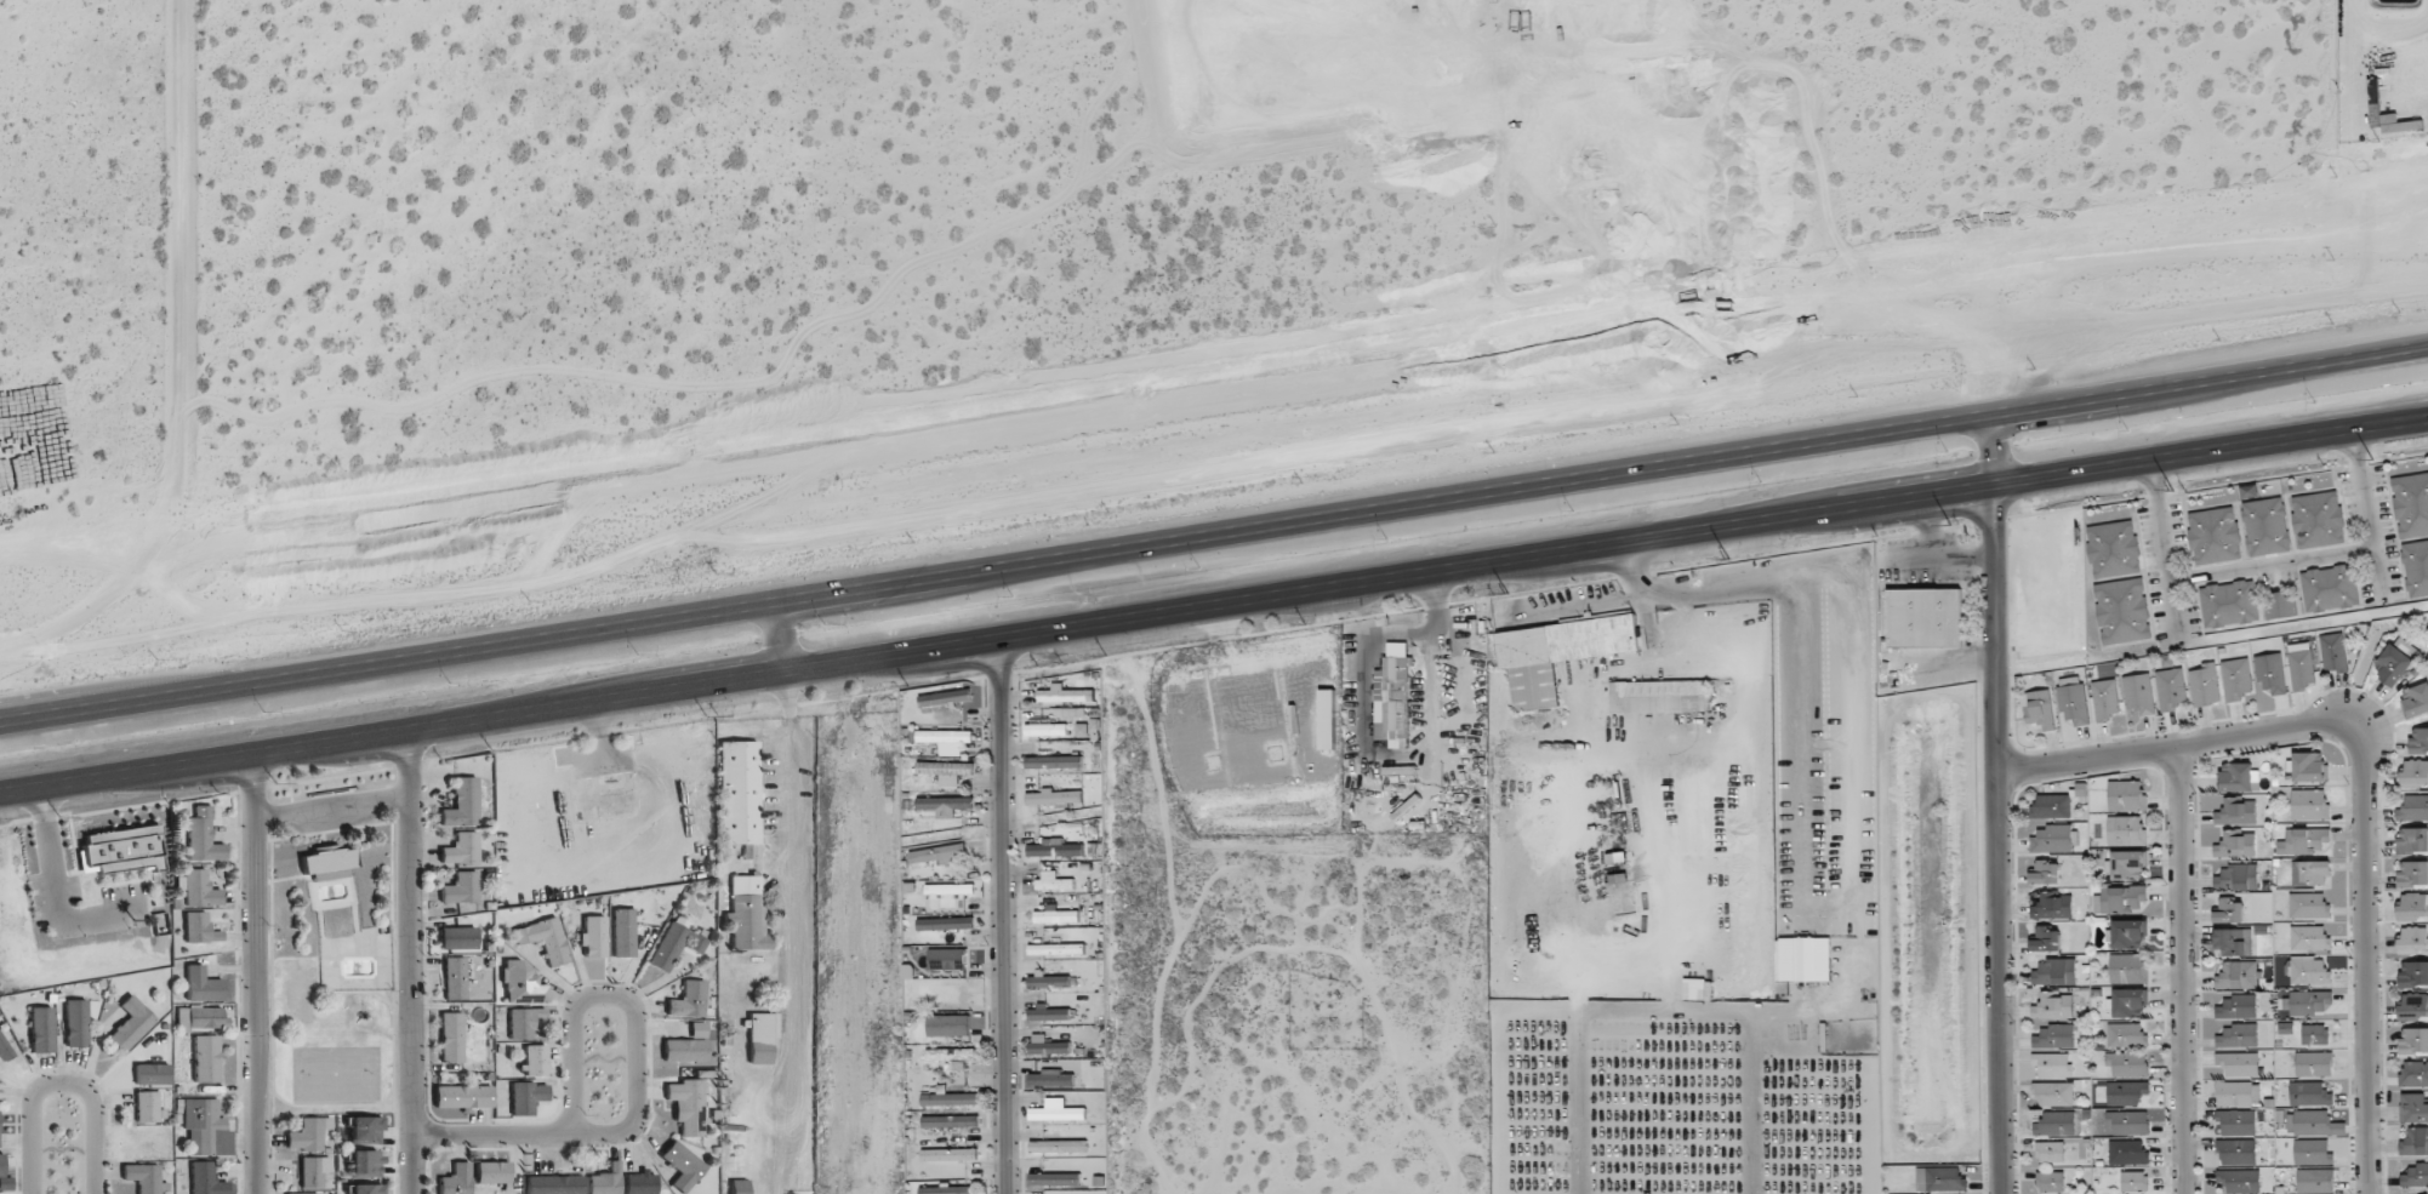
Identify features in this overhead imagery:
road: (1212, 389)
road: (1988, 445)
road: (2208, 455)
building: (2411, 504)
building: (2318, 519)
road: (2369, 519)
building: (2265, 526)
building: (2215, 535)
building: (2113, 549)
road: (2167, 556)
road: (2273, 565)
building: (2416, 567)
building: (2330, 588)
building: (2228, 604)
building: (2279, 606)
building: (2122, 611)
building: (1925, 617)
road: (994, 640)
building: (2333, 652)
building: (1557, 653)
building: (2393, 664)
building: (2301, 665)
building: (2270, 673)
building: (2236, 679)
building: (2204, 685)
building: (2171, 689)
building: (2138, 693)
building: (1065, 695)
building: (1392, 695)
building: (1658, 696)
building: (945, 698)
building: (2073, 699)
building: (2104, 699)
building: (2416, 699)
building: (2039, 709)
building: (1070, 712)
building: (1327, 719)
building: (1044, 727)
building: (945, 736)
building: (2418, 741)
road: (2176, 742)
building: (951, 752)
building: (1054, 762)
building: (2309, 766)
building: (1398, 770)
building: (946, 771)
building: (2415, 773)
building: (2235, 777)
road: (1151, 778)
building: (739, 792)
building: (2126, 795)
building: (1054, 796)
building: (460, 804)
building: (2309, 804)
building: (945, 805)
building: (2052, 806)
building: (2413, 809)
building: (2236, 812)
building: (2126, 829)
building: (203, 836)
building: (2052, 839)
road: (1990, 840)
building: (2412, 840)
building: (2304, 841)
building: (2235, 845)
building: (1054, 849)
building: (460, 850)
building: (124, 851)
building: (939, 853)
building: (327, 861)
building: (2128, 864)
building: (2045, 872)
building: (2310, 872)
building: (2412, 873)
building: (324, 875)
building: (2236, 878)
building: (1053, 881)
building: (460, 887)
building: (200, 889)
building: (945, 893)
building: (2122, 898)
building: (2308, 906)
building: (2413, 906)
building: (2052, 907)
building: (2228, 910)
building: (747, 913)
building: (1056, 915)
road: (1003, 916)
building: (945, 924)
building: (199, 929)
building: (623, 932)
building: (2128, 933)
building: (457, 937)
building: (593, 937)
building: (2308, 937)
building: (545, 939)
building: (2045, 939)
building: (2413, 939)
building: (2232, 942)
building: (674, 946)
building: (1056, 949)
road: (2358, 956)
building: (947, 959)
building: (1802, 959)
road: (411, 960)
building: (2127, 967)
road: (2168, 969)
building: (2309, 970)
building: (2054, 972)
road: (253, 973)
building: (2413, 973)
building: (2236, 975)
building: (454, 978)
building: (1048, 981)
building: (523, 983)
building: (201, 984)
building: (937, 993)
building: (1697, 993)
building: (688, 1000)
building: (2130, 1002)
building: (2306, 1002)
building: (2053, 1006)
building: (2413, 1006)
building: (2236, 1007)
building: (1048, 1013)
building: (200, 1018)
building: (524, 1022)
building: (75, 1023)
building: (131, 1023)
building: (948, 1026)
building: (697, 1029)
building: (41, 1030)
building: (2315, 1034)
building: (2126, 1035)
building: (2238, 1035)
building: (451, 1036)
building: (2054, 1036)
building: (2413, 1040)
building: (1047, 1046)
building: (5, 1049)
building: (684, 1050)
building: (950, 1055)
building: (206, 1058)
building: (535, 1059)
building: (2128, 1063)
building: (2238, 1063)
building: (2314, 1063)
building: (2054, 1066)
park: (336, 1073)
building: (152, 1074)
building: (2413, 1074)
building: (1051, 1078)
road: (640, 1082)
road: (61, 1085)
building: (2126, 1092)
building: (2054, 1093)
building: (2234, 1093)
building: (2309, 1093)
building: (462, 1096)
building: (526, 1097)
building: (950, 1099)
building: (686, 1106)
building: (146, 1107)
building: (2413, 1108)
building: (1056, 1110)
building: (950, 1121)
building: (2128, 1121)
building: (2236, 1121)
building: (2054, 1124)
building: (203, 1125)
building: (365, 1130)
building: (308, 1133)
building: (2415, 1142)
building: (1058, 1146)
building: (2050, 1152)
building: (2128, 1152)
building: (2236, 1152)
building: (2313, 1152)
building: (948, 1154)
building: (365, 1164)
building: (1, 1165)
building: (682, 1166)
building: (313, 1171)
building: (492, 1172)
building: (2415, 1176)
building: (142, 1177)
building: (205, 1179)
building: (456, 1179)
building: (1055, 1179)
building: (1940, 1179)
building: (2315, 1179)
building: (605, 1181)
building: (2050, 1181)
building: (2135, 1181)
building: (2239, 1181)
building: (640, 1183)
building: (740, 1187)
building: (366, 1189)
building: (947, 1189)
building: (307, 1193)

